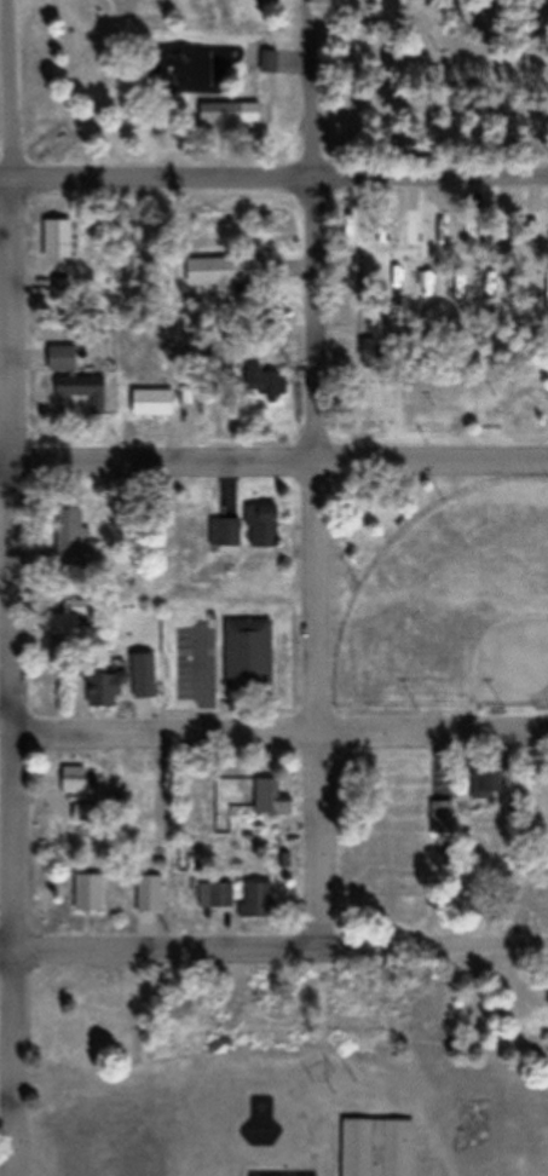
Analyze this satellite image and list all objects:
building: (265, 62)
road: (316, 88)
road: (8, 90)
building: (217, 114)
road: (219, 145)
road: (5, 155)
road: (279, 177)
road: (6, 180)
building: (54, 238)
building: (212, 272)
park: (367, 287)
building: (58, 359)
building: (265, 387)
building: (81, 391)
building: (149, 403)
road: (273, 463)
building: (259, 526)
building: (221, 535)
road: (316, 563)
building: (244, 655)
building: (140, 676)
road: (12, 678)
building: (99, 691)
road: (6, 702)
parking lot: (6, 704)
road: (279, 734)
building: (70, 780)
building: (267, 799)
building: (439, 814)
building: (85, 894)
building: (146, 894)
building: (218, 895)
building: (253, 900)
road: (273, 950)
building: (47, 990)
building: (373, 1148)

